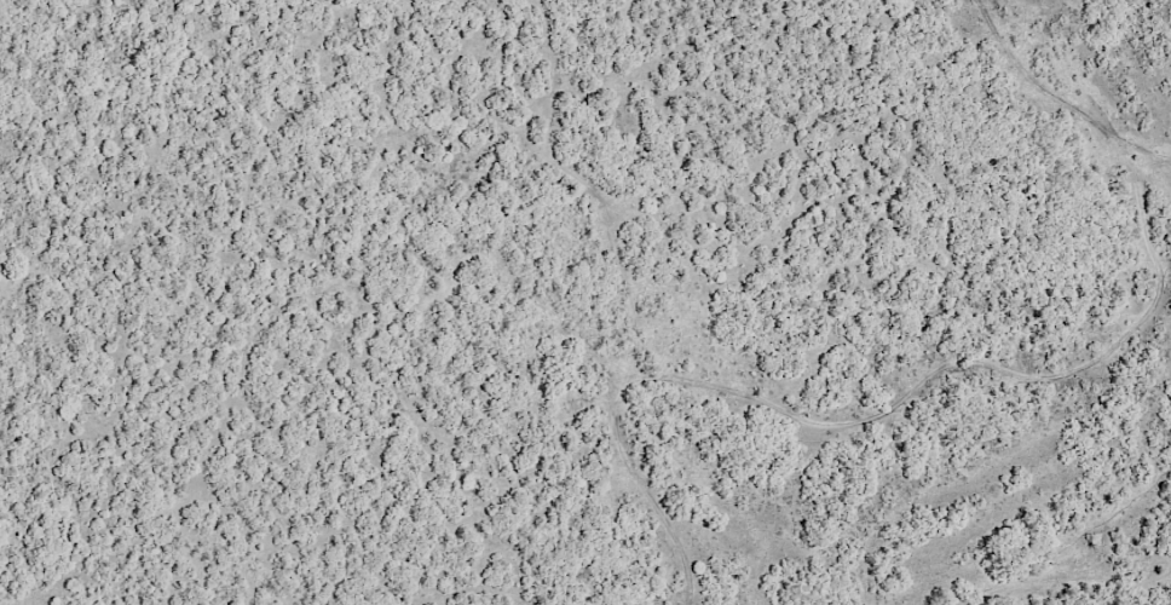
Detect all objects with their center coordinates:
road: (1113, 597)

